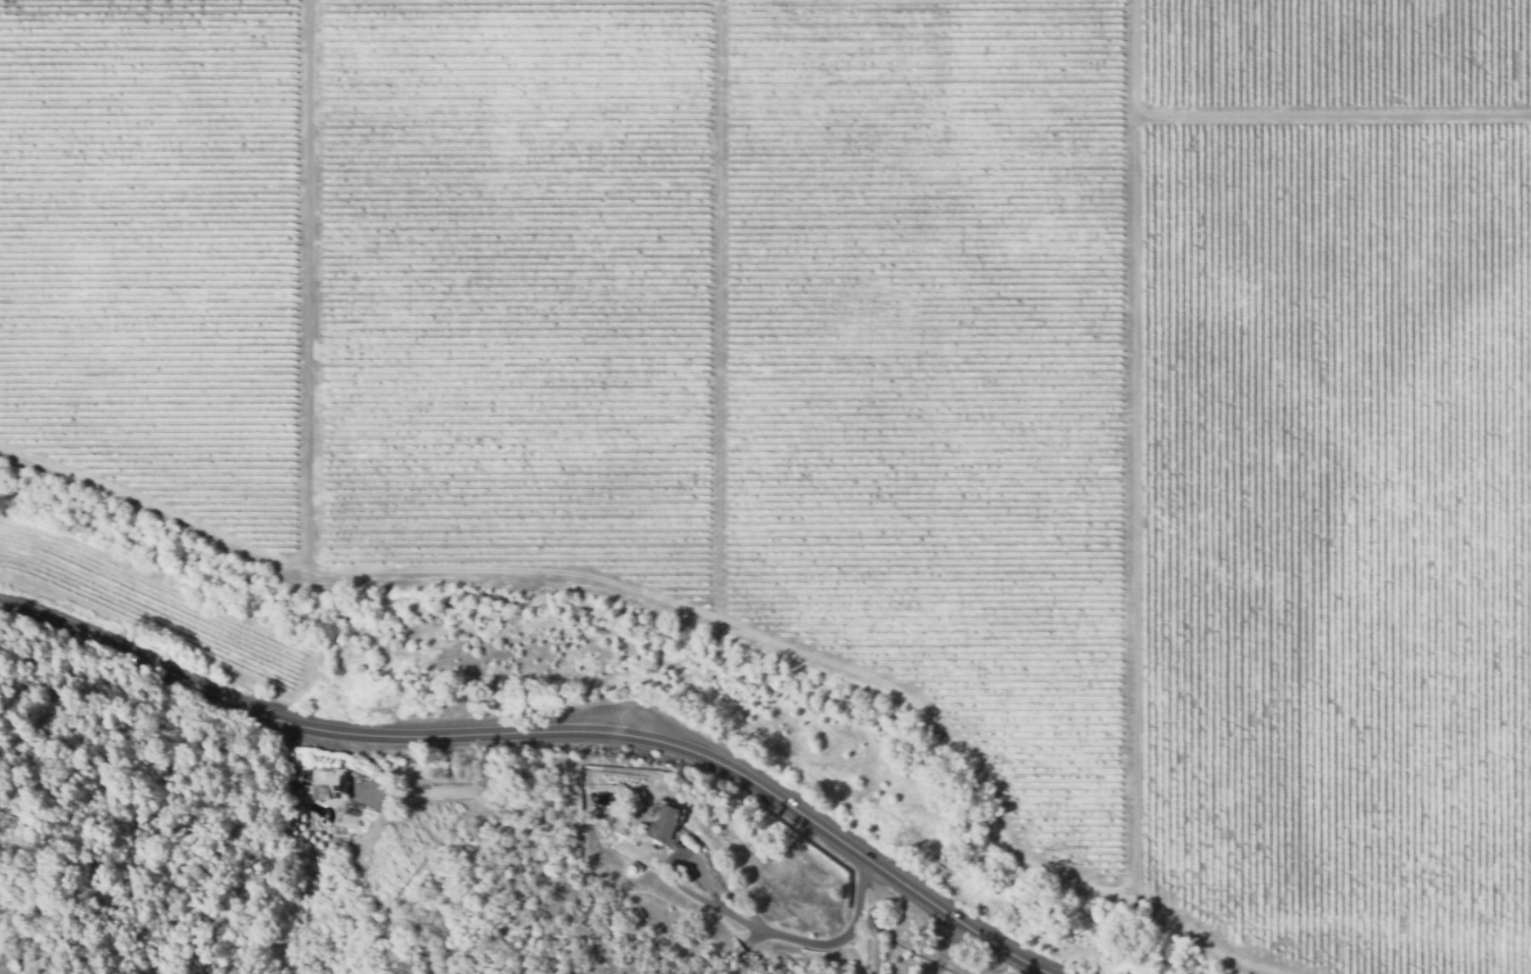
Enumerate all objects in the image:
road: (1136, 448)
road: (352, 567)
road: (720, 571)
road: (556, 731)
building: (326, 784)
building: (351, 809)
building: (665, 821)
building: (632, 829)
road: (684, 889)
road: (801, 943)
road: (950, 951)

